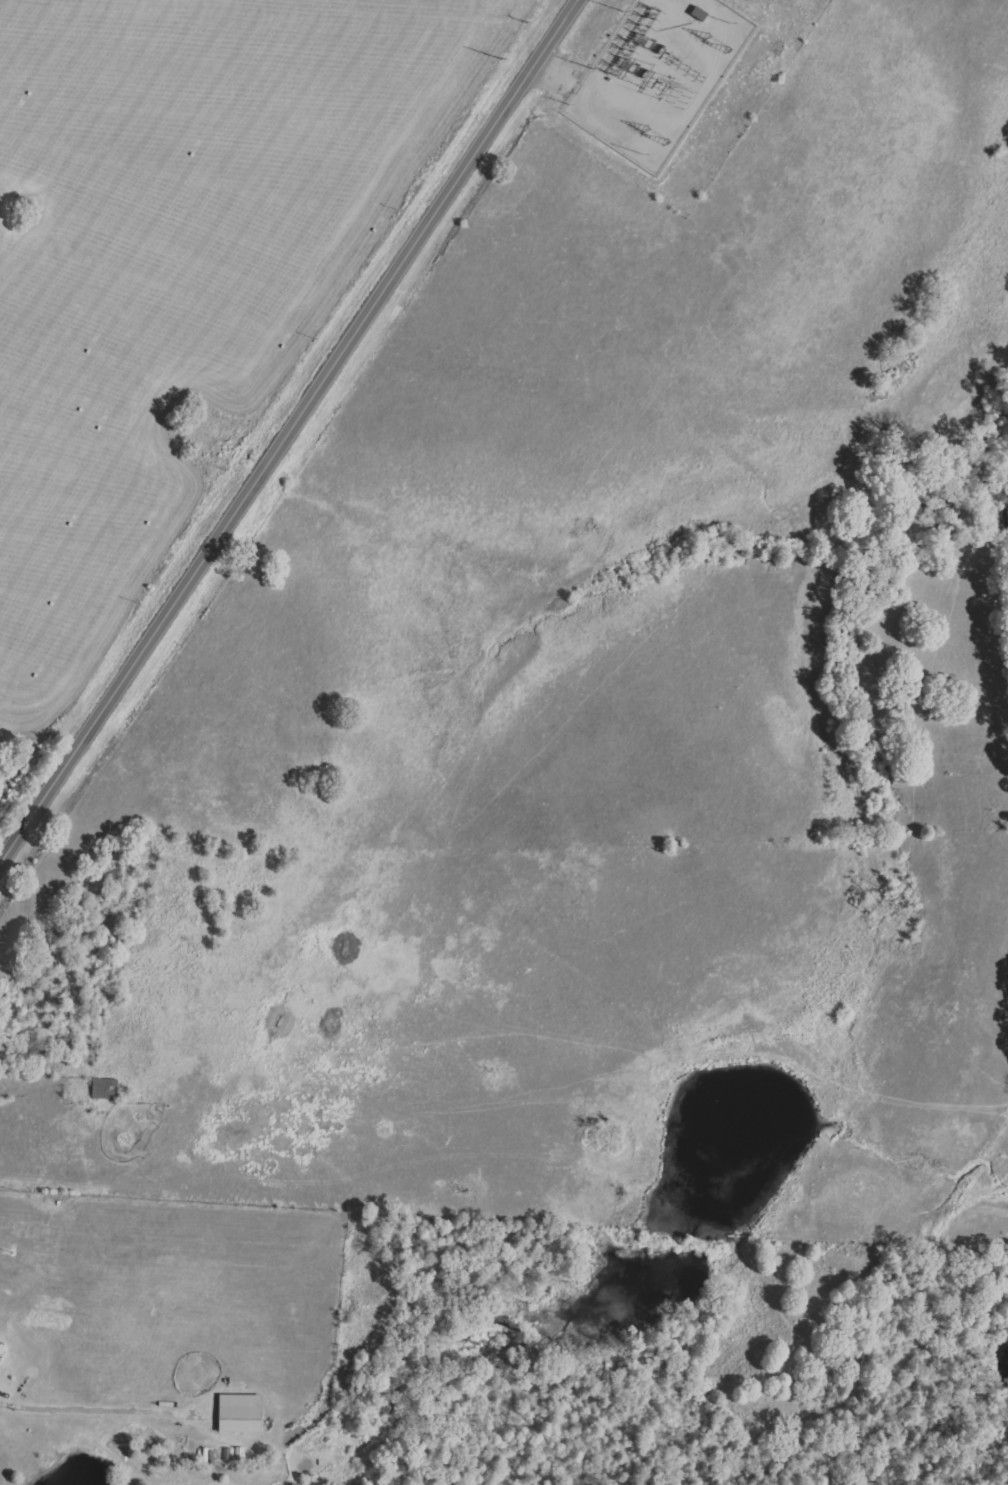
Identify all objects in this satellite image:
power substation: (655, 75)
road: (289, 431)
building: (1, 1349)
building: (0, 1361)
building: (240, 1413)

